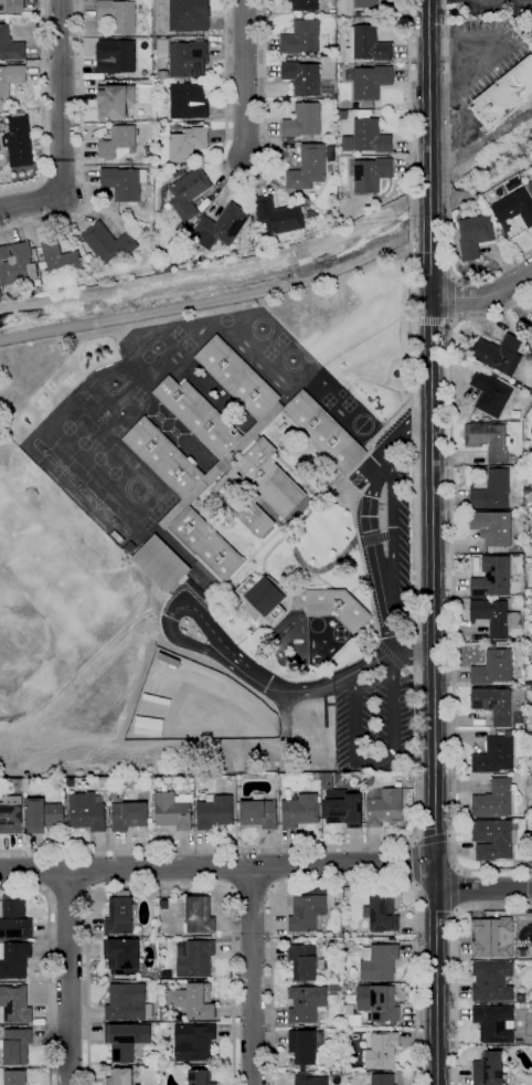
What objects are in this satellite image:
building: (365, 3)
building: (12, 4)
building: (305, 6)
building: (118, 14)
building: (188, 15)
road: (227, 21)
building: (300, 38)
road: (259, 42)
building: (10, 45)
building: (366, 45)
building: (161, 46)
road: (227, 46)
road: (454, 46)
building: (115, 56)
building: (188, 59)
road: (260, 71)
building: (161, 74)
building: (301, 77)
building: (10, 80)
road: (244, 81)
building: (371, 82)
building: (504, 95)
building: (115, 101)
building: (188, 101)
road: (228, 107)
road: (41, 109)
building: (366, 112)
building: (301, 120)
road: (260, 128)
road: (60, 129)
road: (228, 135)
building: (370, 136)
road: (446, 138)
building: (18, 141)
building: (188, 144)
building: (118, 145)
road: (81, 150)
road: (268, 162)
building: (308, 167)
building: (369, 173)
road: (254, 176)
building: (124, 182)
road: (245, 183)
road: (228, 186)
building: (530, 186)
building: (189, 192)
road: (409, 206)
building: (514, 208)
building: (311, 213)
building: (278, 215)
building: (220, 227)
building: (146, 230)
building: (474, 235)
building: (178, 240)
building: (108, 243)
building: (60, 261)
building: (17, 264)
road: (493, 272)
road: (430, 276)
road: (483, 295)
building: (0, 297)
road: (220, 298)
road: (450, 298)
road: (432, 320)
building: (531, 335)
building: (499, 354)
building: (236, 377)
building: (517, 385)
building: (490, 393)
building: (198, 415)
road: (412, 425)
building: (323, 432)
building: (488, 440)
building: (163, 456)
building: (222, 464)
building: (257, 488)
building: (491, 491)
road: (319, 494)
building: (492, 527)
road: (393, 531)
building: (116, 537)
road: (373, 541)
road: (433, 541)
building: (205, 545)
building: (130, 547)
road: (255, 552)
building: (529, 558)
road: (299, 560)
building: (161, 563)
building: (492, 578)
road: (322, 579)
road: (366, 580)
road: (358, 584)
road: (451, 588)
building: (531, 594)
building: (262, 599)
building: (337, 608)
road: (168, 613)
building: (493, 617)
building: (493, 667)
road: (301, 691)
building: (492, 704)
building: (494, 756)
road: (386, 761)
building: (339, 779)
building: (327, 780)
building: (369, 781)
building: (71, 782)
building: (65, 794)
building: (497, 800)
building: (384, 807)
building: (343, 808)
building: (172, 811)
building: (214, 811)
building: (299, 811)
building: (86, 812)
building: (258, 813)
building: (11, 815)
building: (43, 815)
building: (129, 815)
road: (435, 838)
building: (493, 839)
road: (406, 842)
road: (412, 864)
road: (219, 867)
road: (343, 885)
road: (161, 886)
road: (455, 886)
road: (252, 889)
road: (482, 889)
road: (66, 893)
building: (305, 912)
building: (382, 913)
building: (120, 914)
building: (199, 915)
building: (13, 920)
building: (492, 938)
building: (313, 941)
building: (123, 956)
building: (194, 958)
road: (449, 958)
building: (14, 959)
building: (306, 962)
building: (379, 962)
road: (49, 966)
road: (251, 976)
road: (68, 978)
building: (491, 981)
building: (334, 988)
building: (520, 998)
building: (193, 1001)
building: (127, 1002)
building: (306, 1003)
building: (379, 1004)
building: (485, 1004)
building: (14, 1005)
building: (167, 1015)
building: (352, 1020)
building: (494, 1023)
building: (125, 1041)
building: (162, 1042)
building: (193, 1042)
building: (17, 1046)
building: (306, 1046)
building: (382, 1051)
building: (488, 1068)
building: (366, 1074)
building: (119, 1076)
building: (14, 1077)
building: (200, 1077)
building: (309, 1079)
building: (382, 1079)

